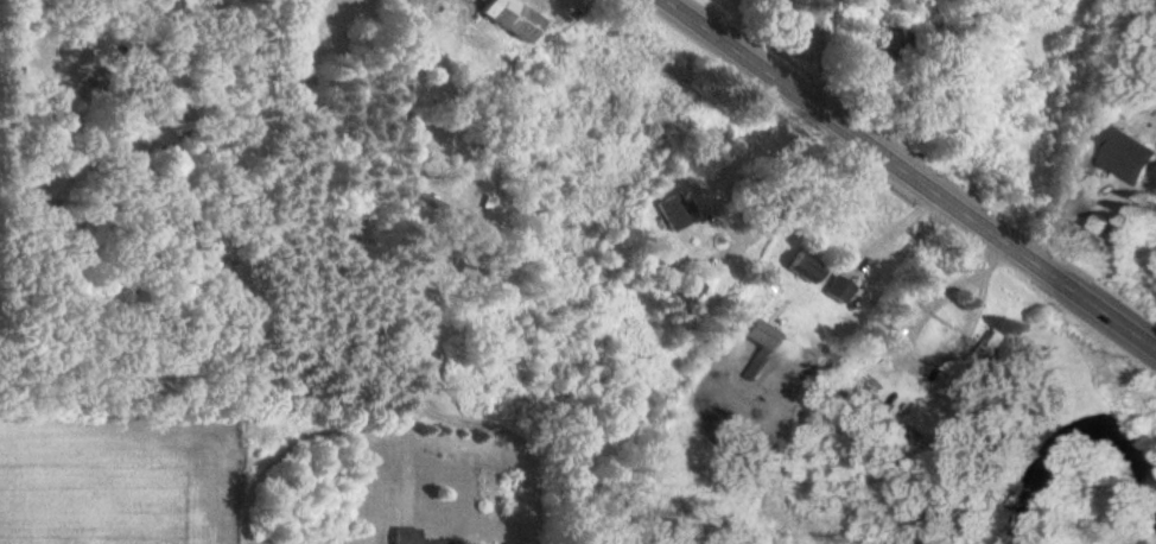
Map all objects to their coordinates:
building: (766, 4)
building: (509, 17)
building: (890, 43)
building: (7, 58)
building: (1114, 140)
building: (456, 163)
road: (909, 173)
building: (436, 205)
building: (673, 211)
road: (408, 241)
building: (802, 265)
building: (659, 270)
building: (686, 292)
building: (896, 312)
building: (762, 334)
building: (983, 354)
building: (755, 365)
building: (411, 537)

